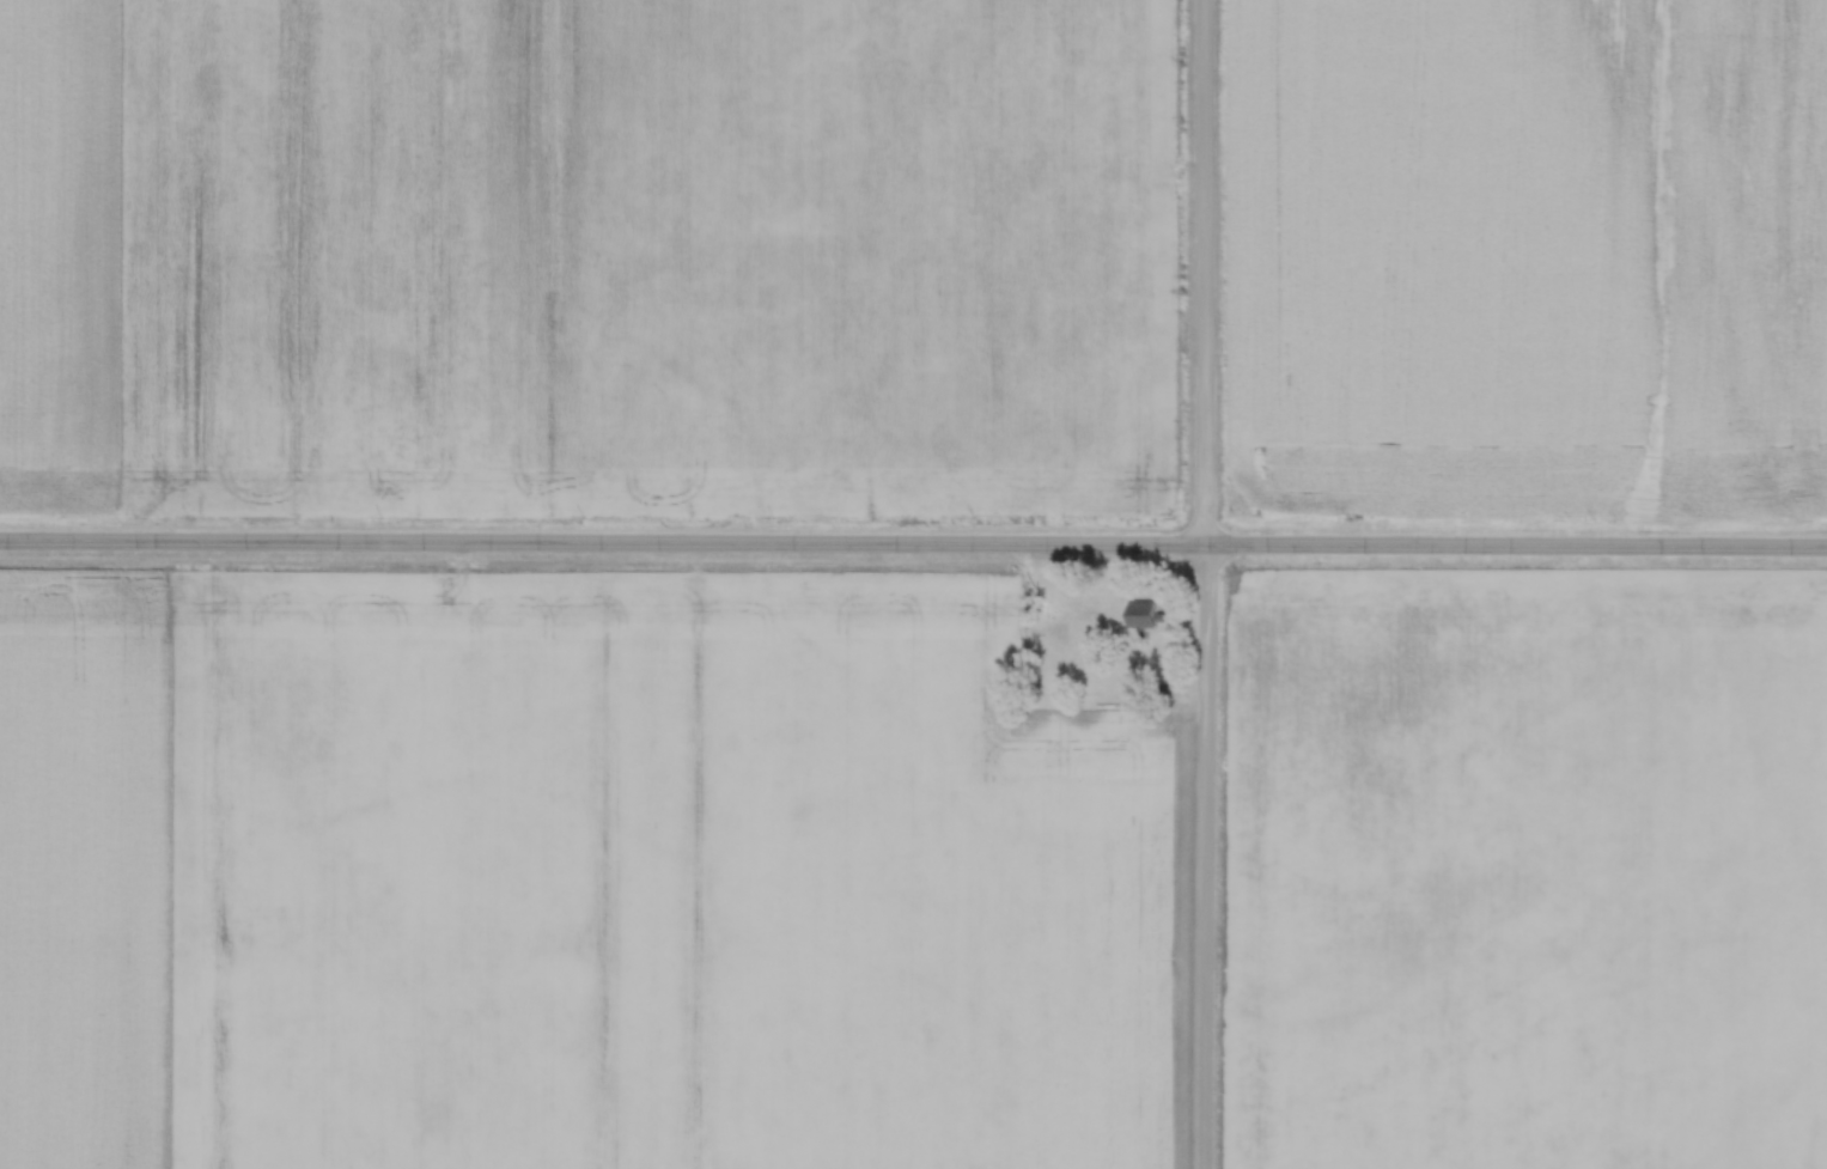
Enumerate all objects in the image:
road: (913, 552)
road: (1205, 584)
building: (1140, 613)

